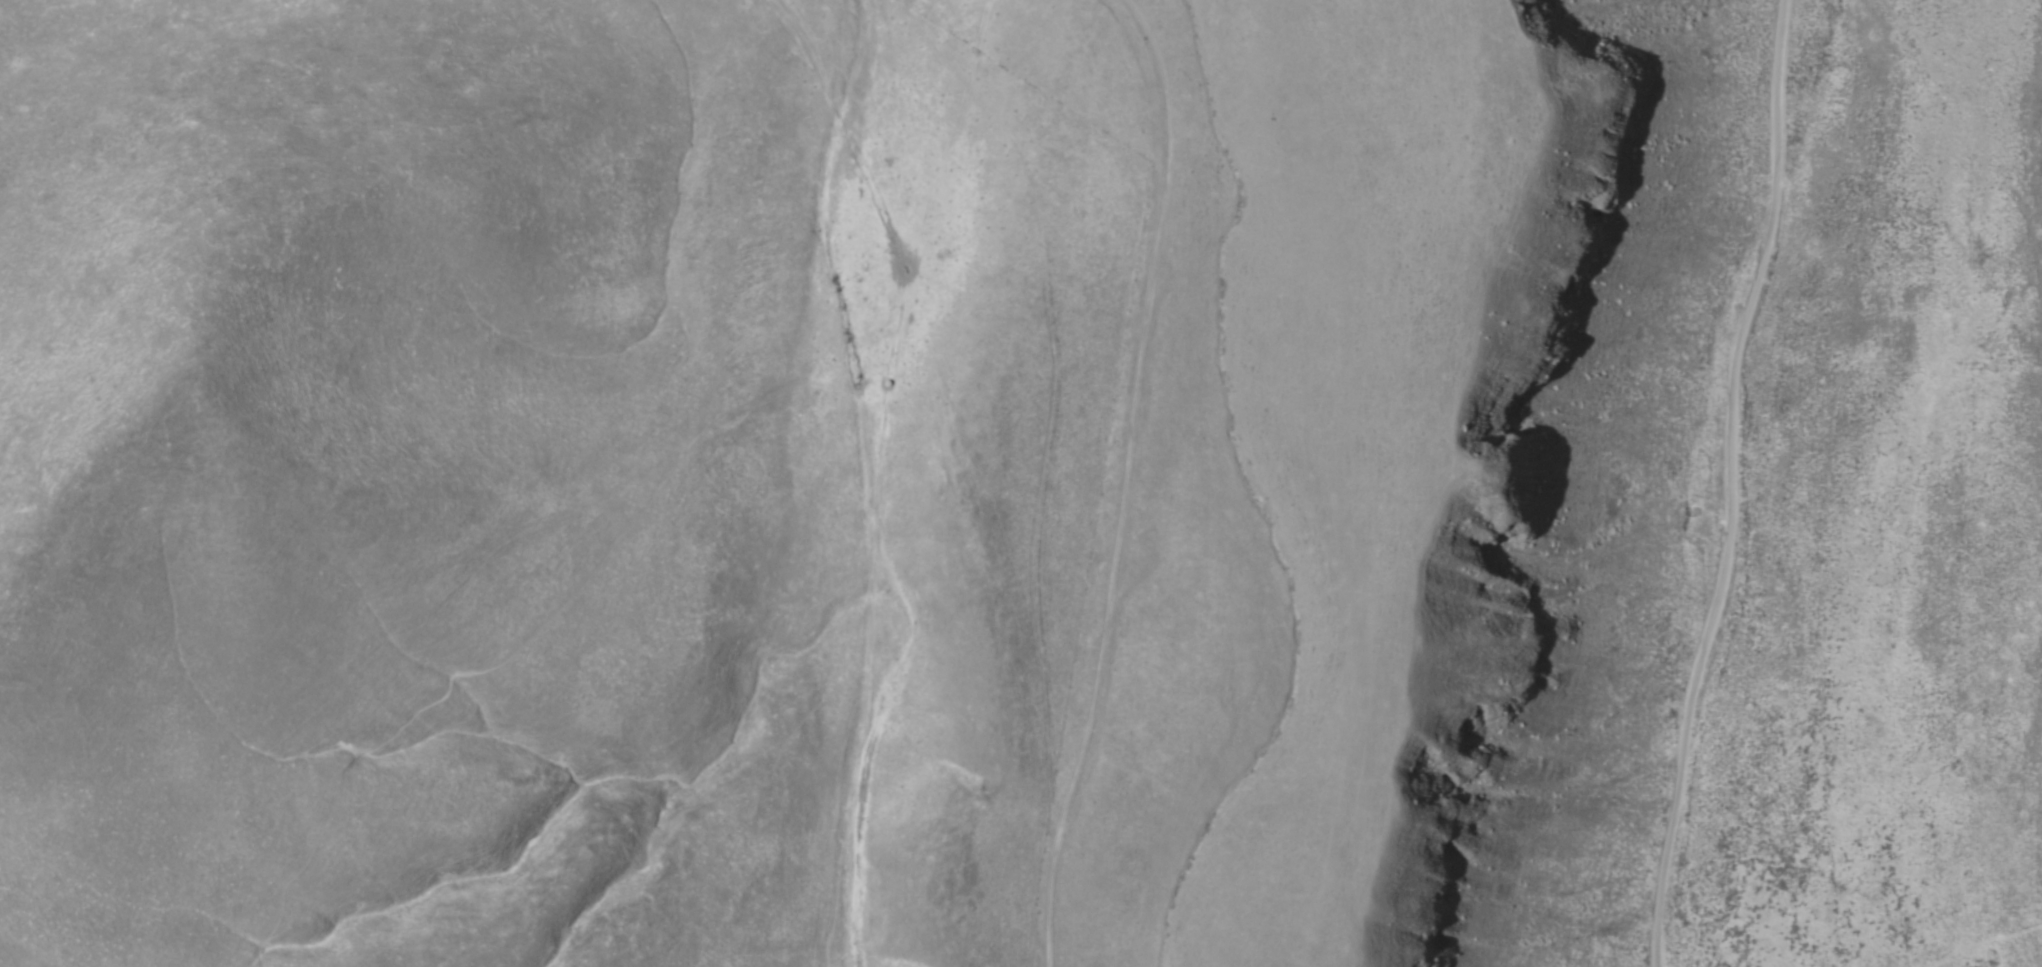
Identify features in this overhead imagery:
road: (1740, 486)

